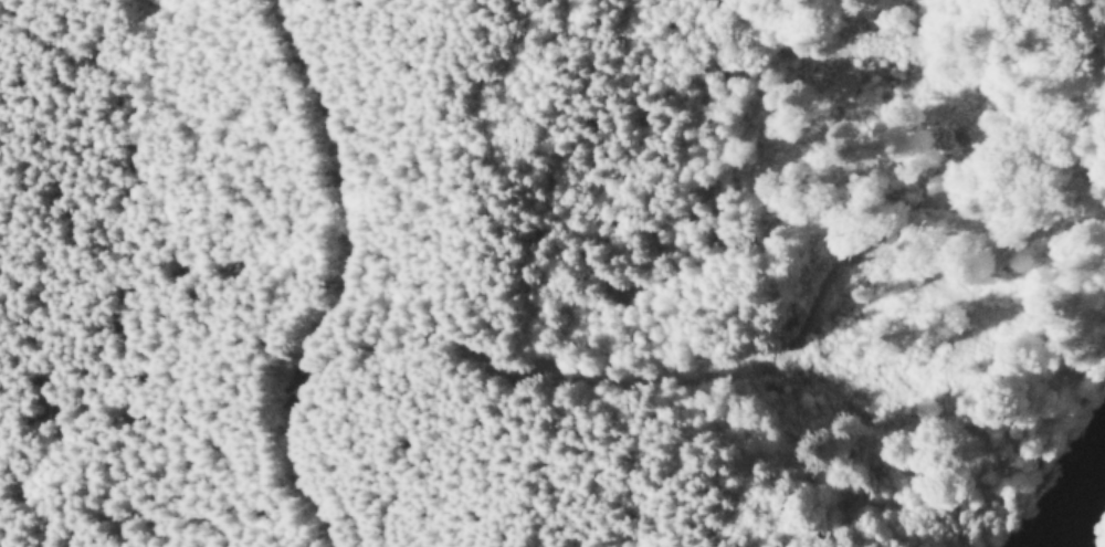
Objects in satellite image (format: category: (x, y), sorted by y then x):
road: (341, 284)
road: (884, 324)
river: (1080, 503)

